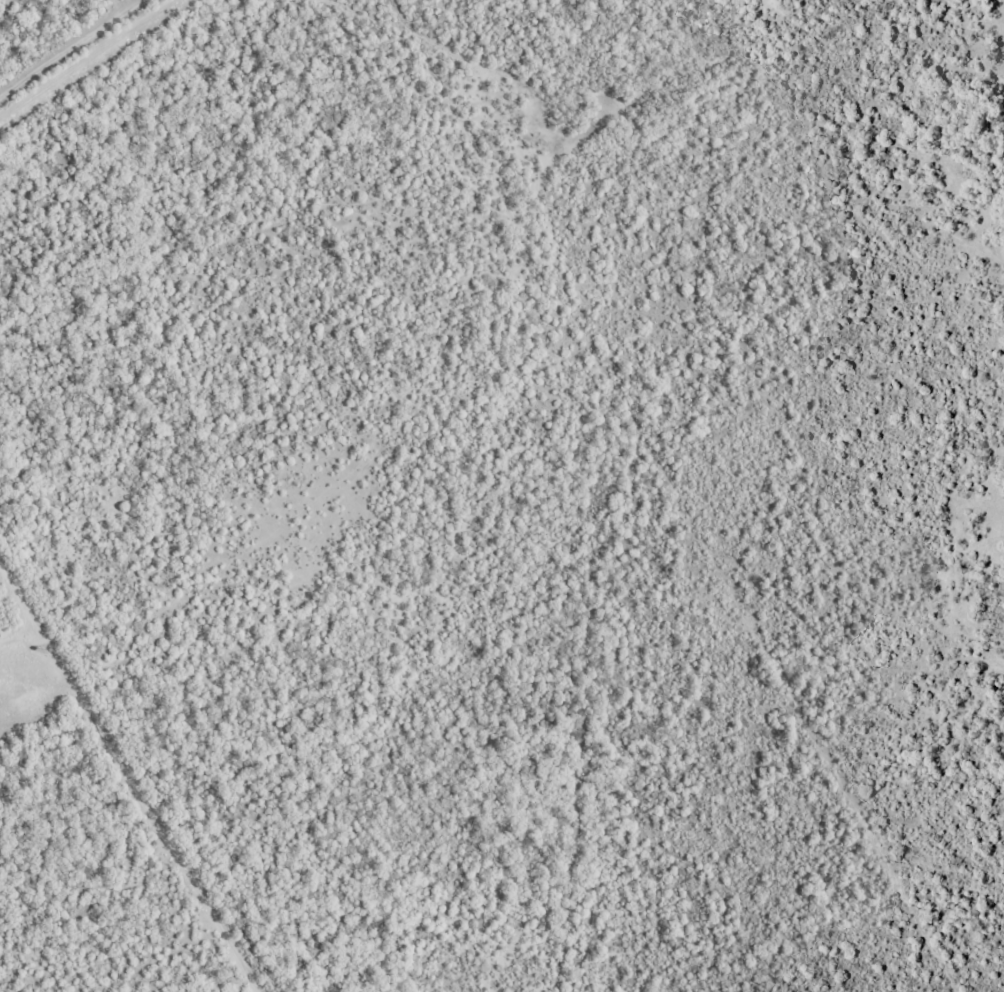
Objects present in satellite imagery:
road: (195, 42)
road: (103, 104)
road: (602, 427)

